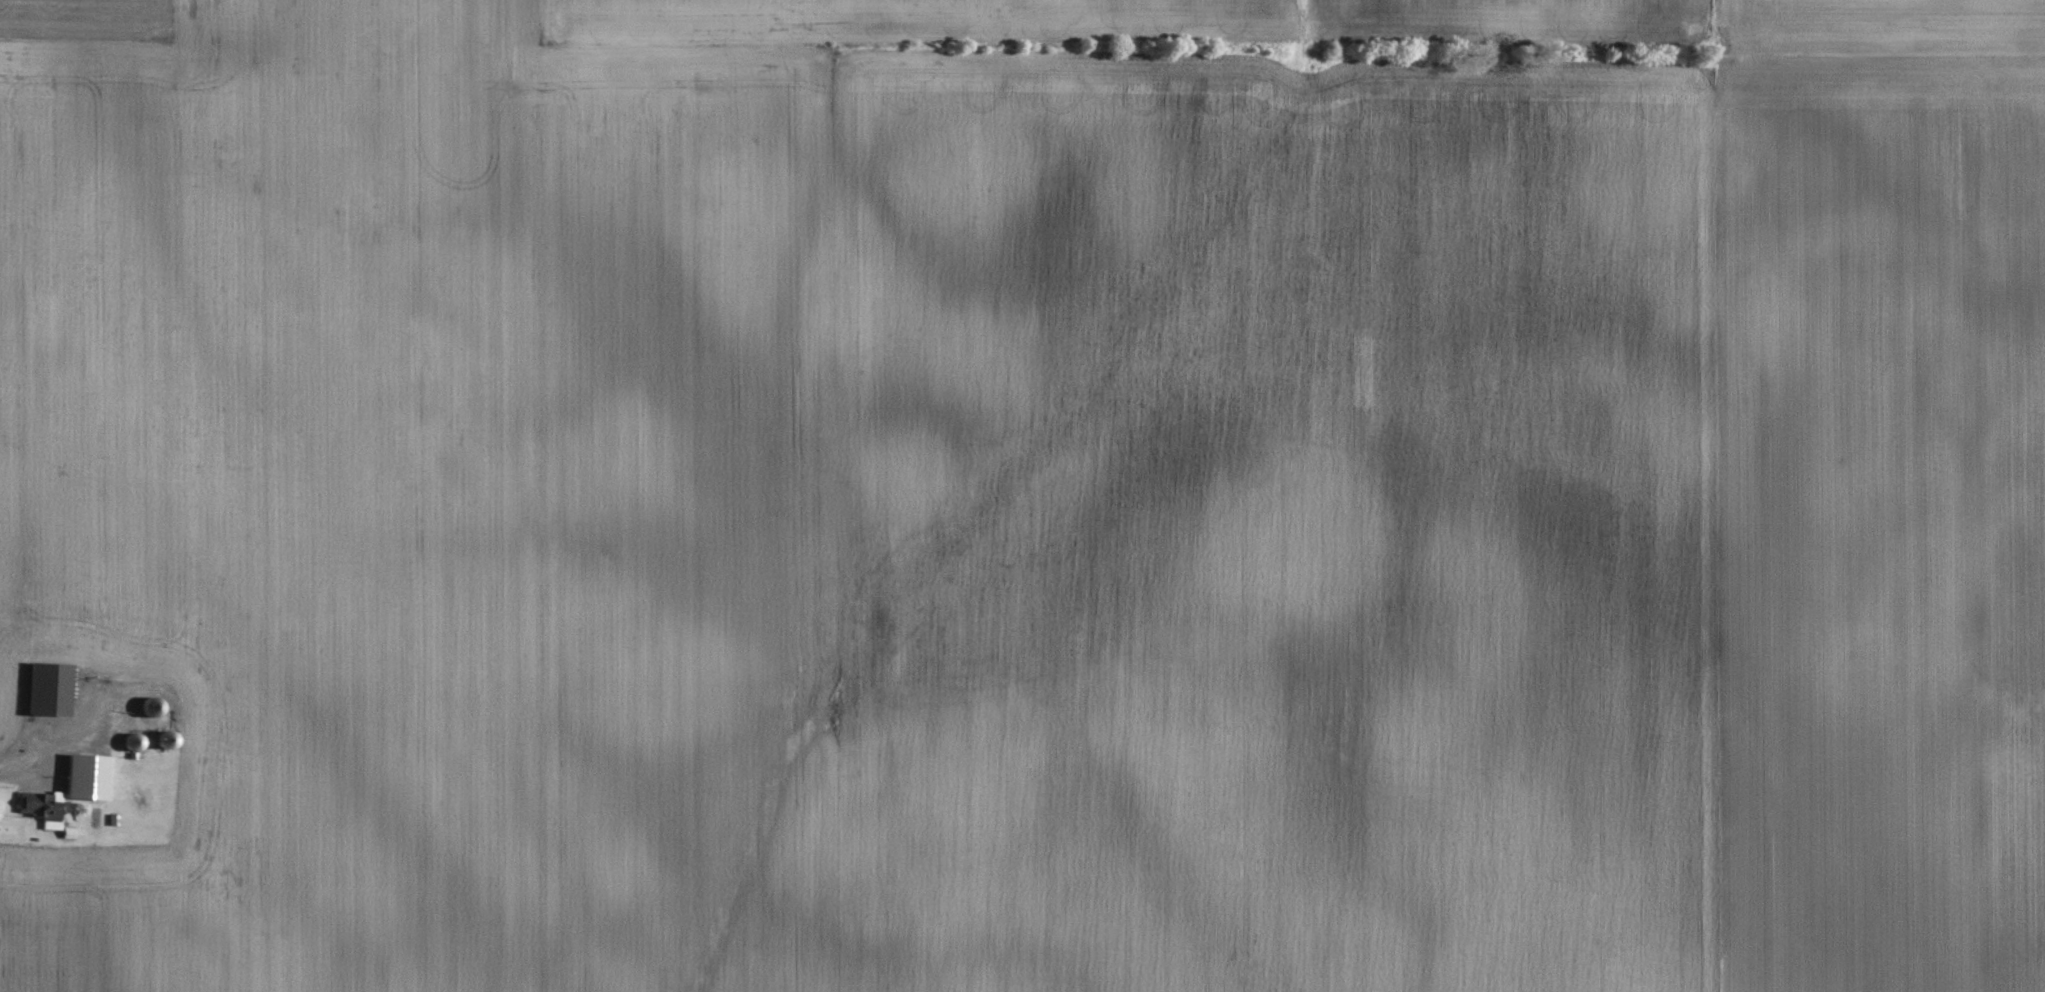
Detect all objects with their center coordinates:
building: (53, 690)
road: (22, 762)
building: (91, 777)

